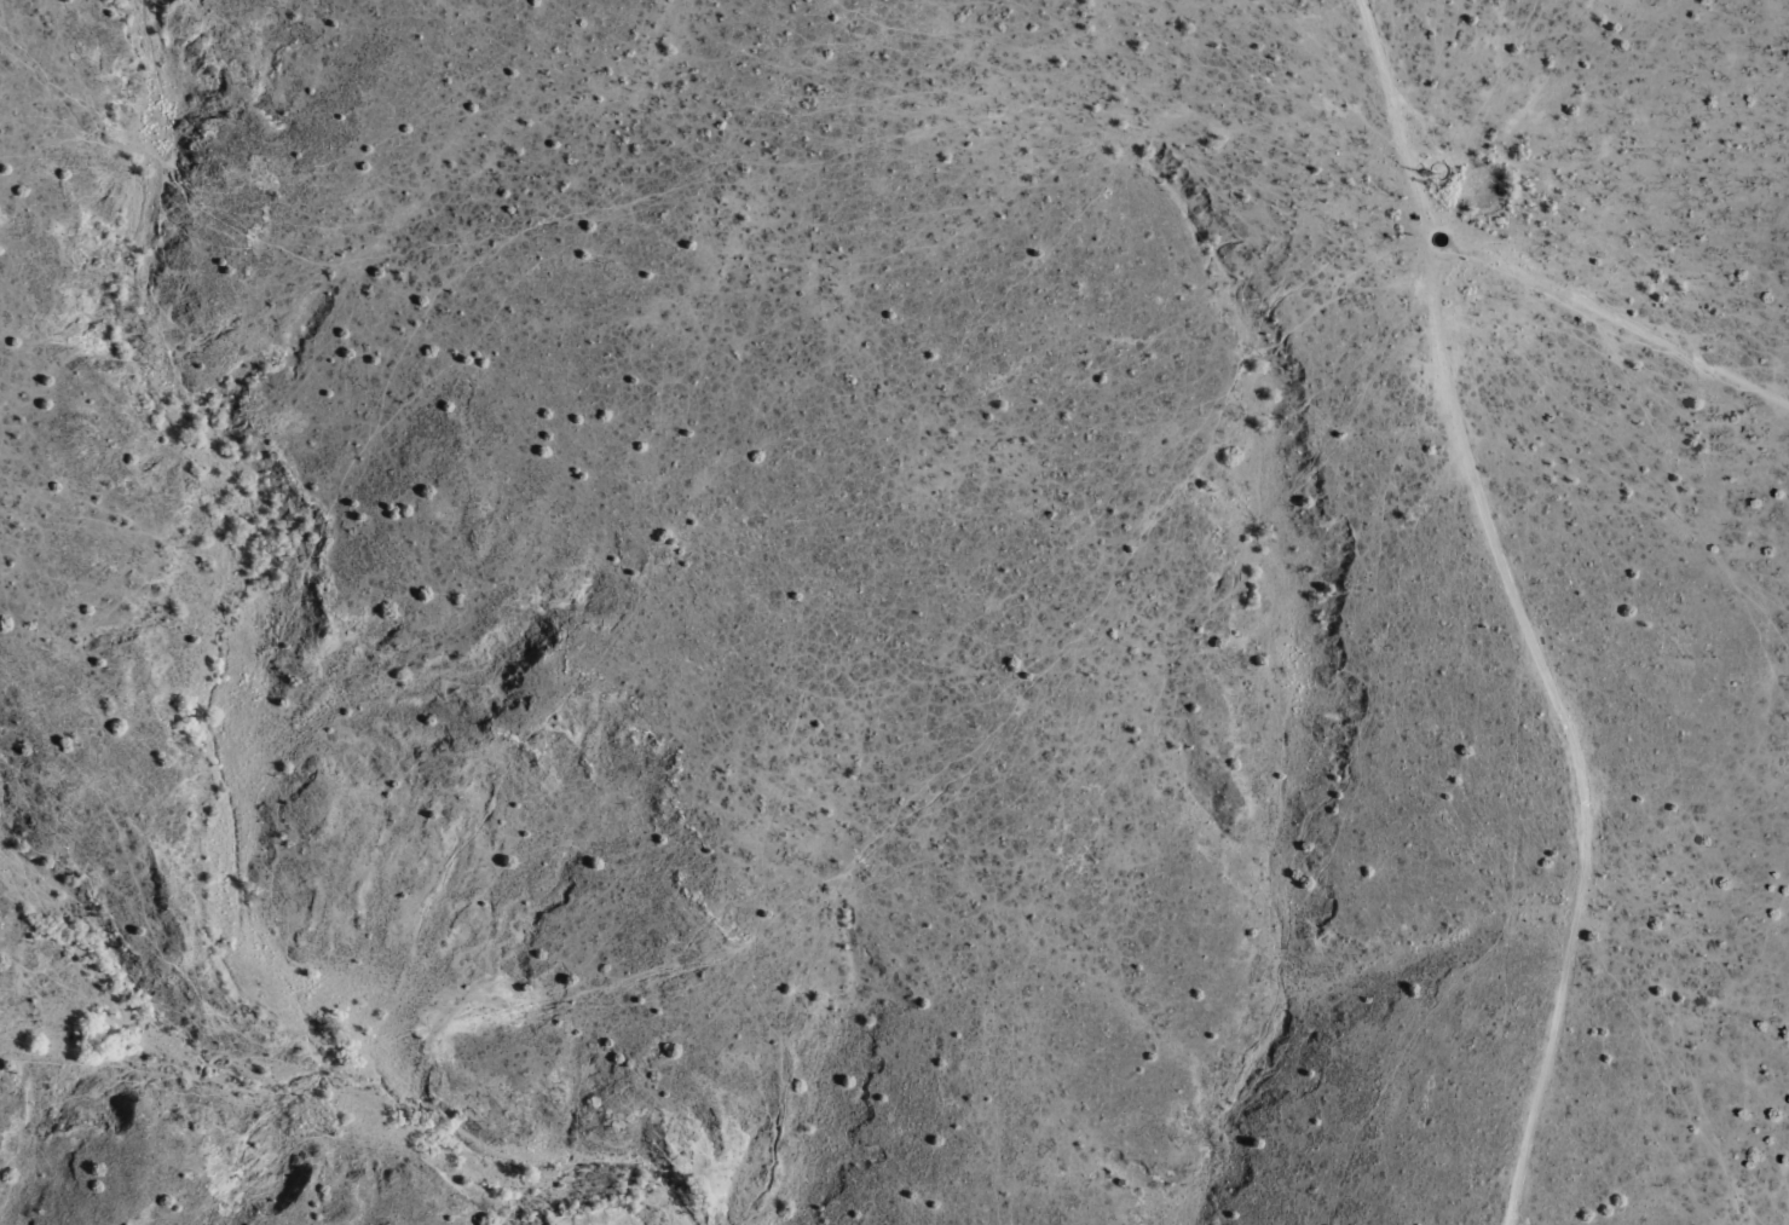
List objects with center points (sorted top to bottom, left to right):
road: (1413, 131)
road: (1462, 561)

